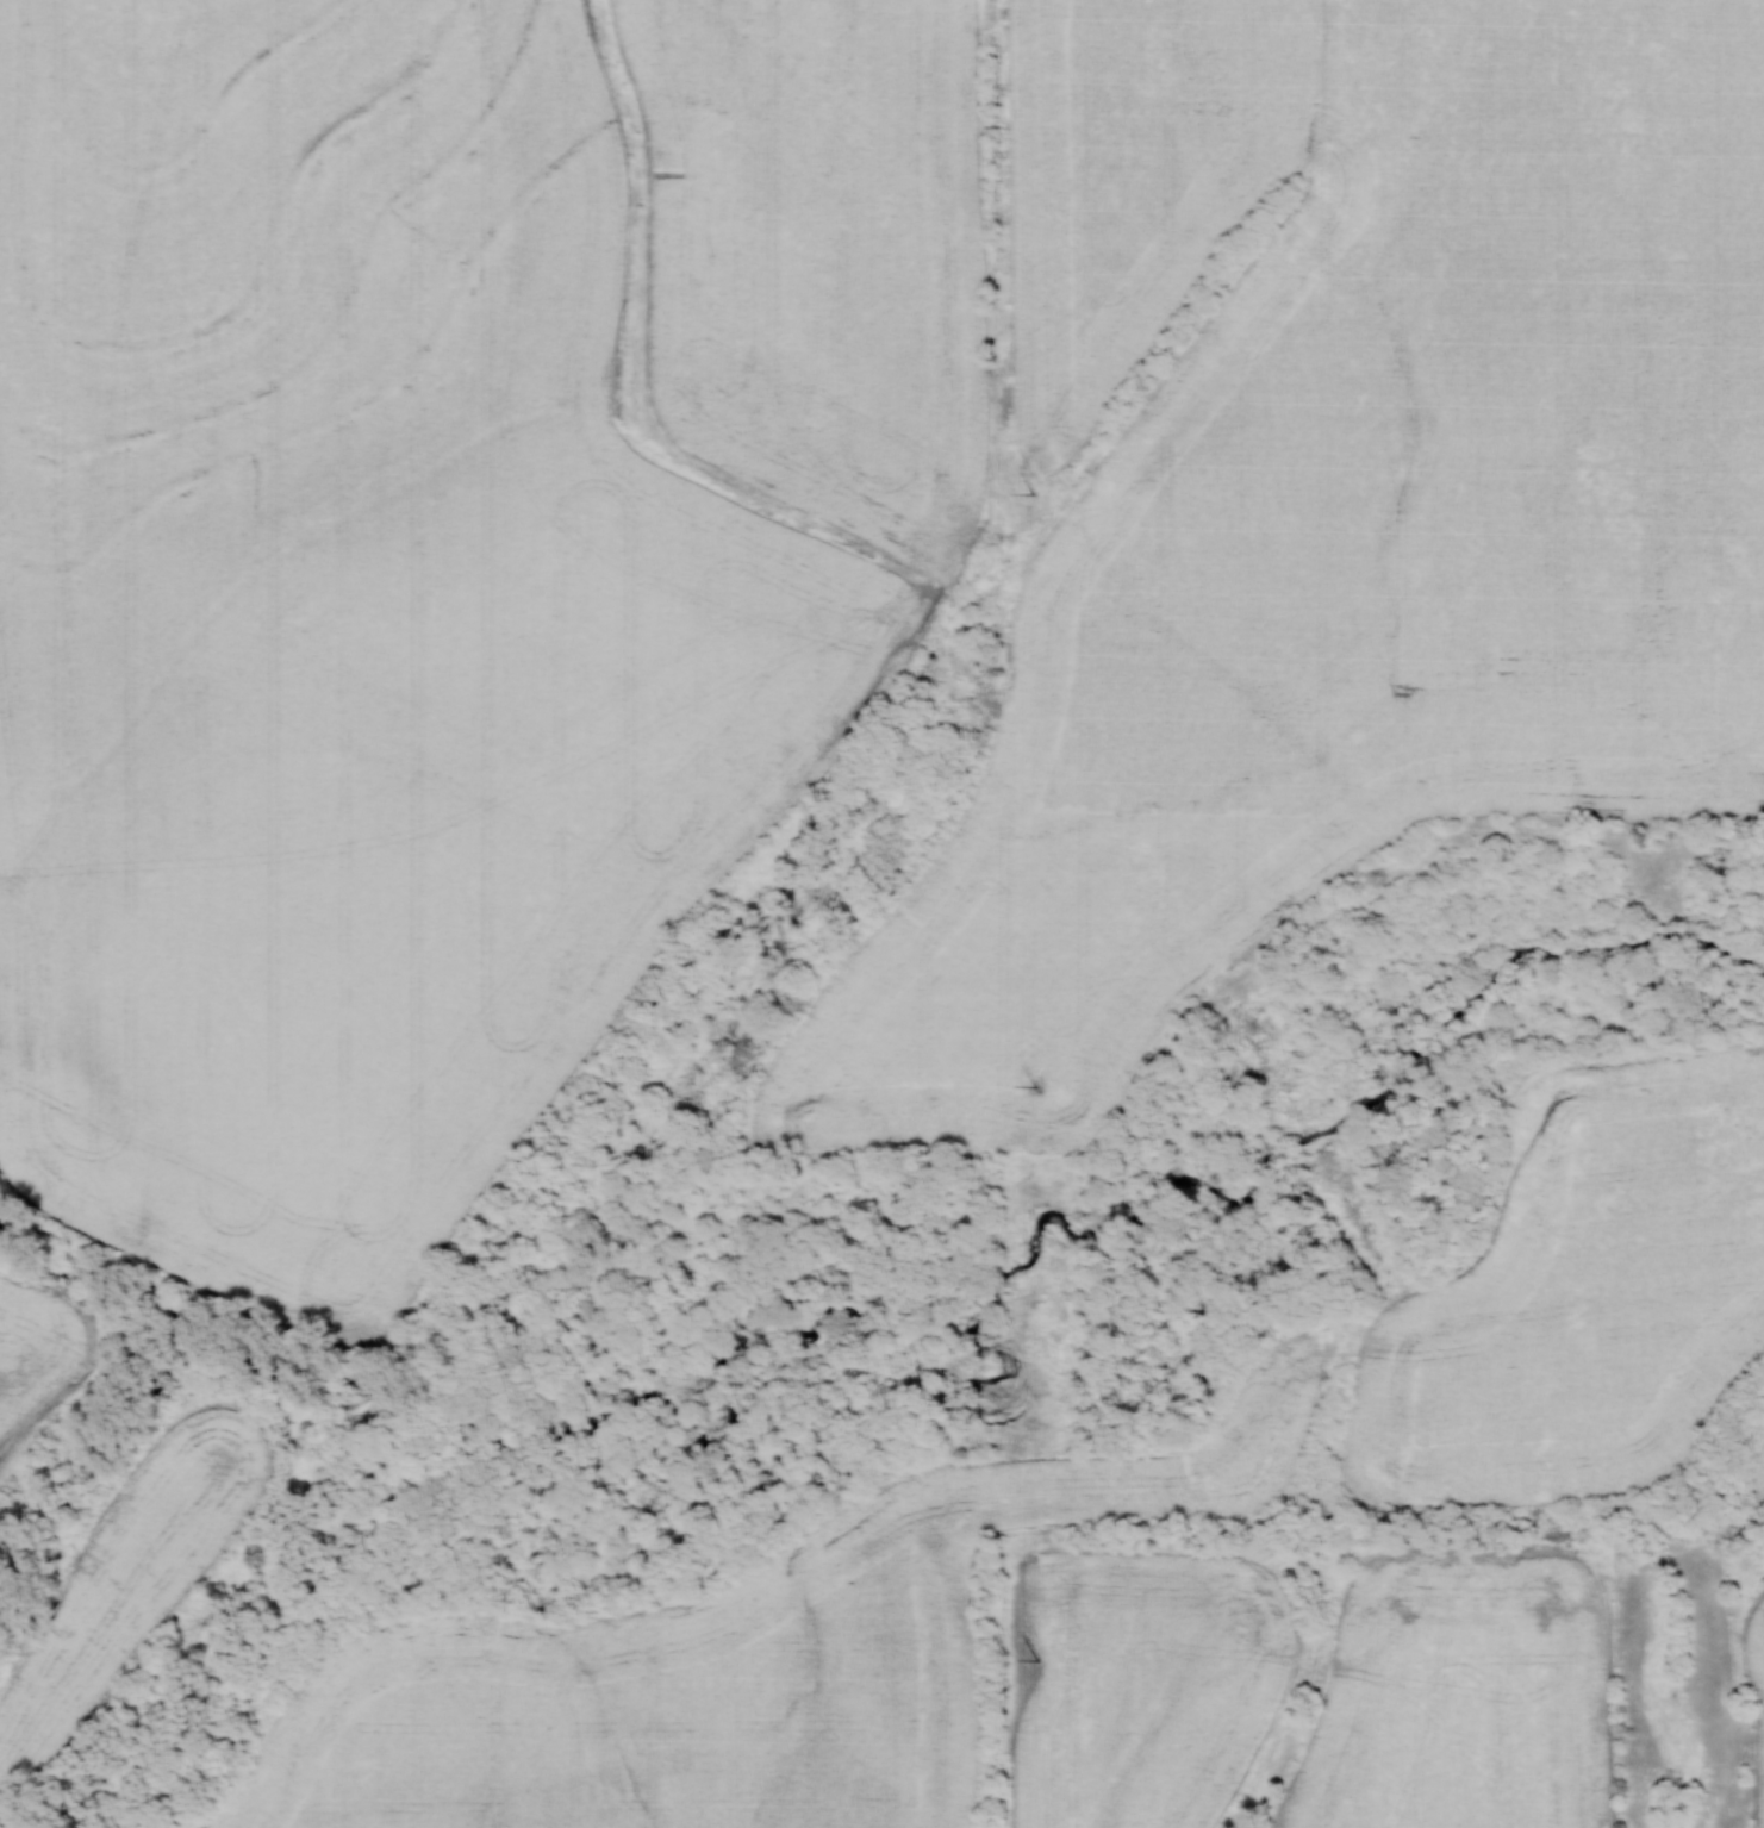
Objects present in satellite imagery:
power tower: (1033, 493)
power tower: (1033, 1084)
power tower: (1036, 1658)

